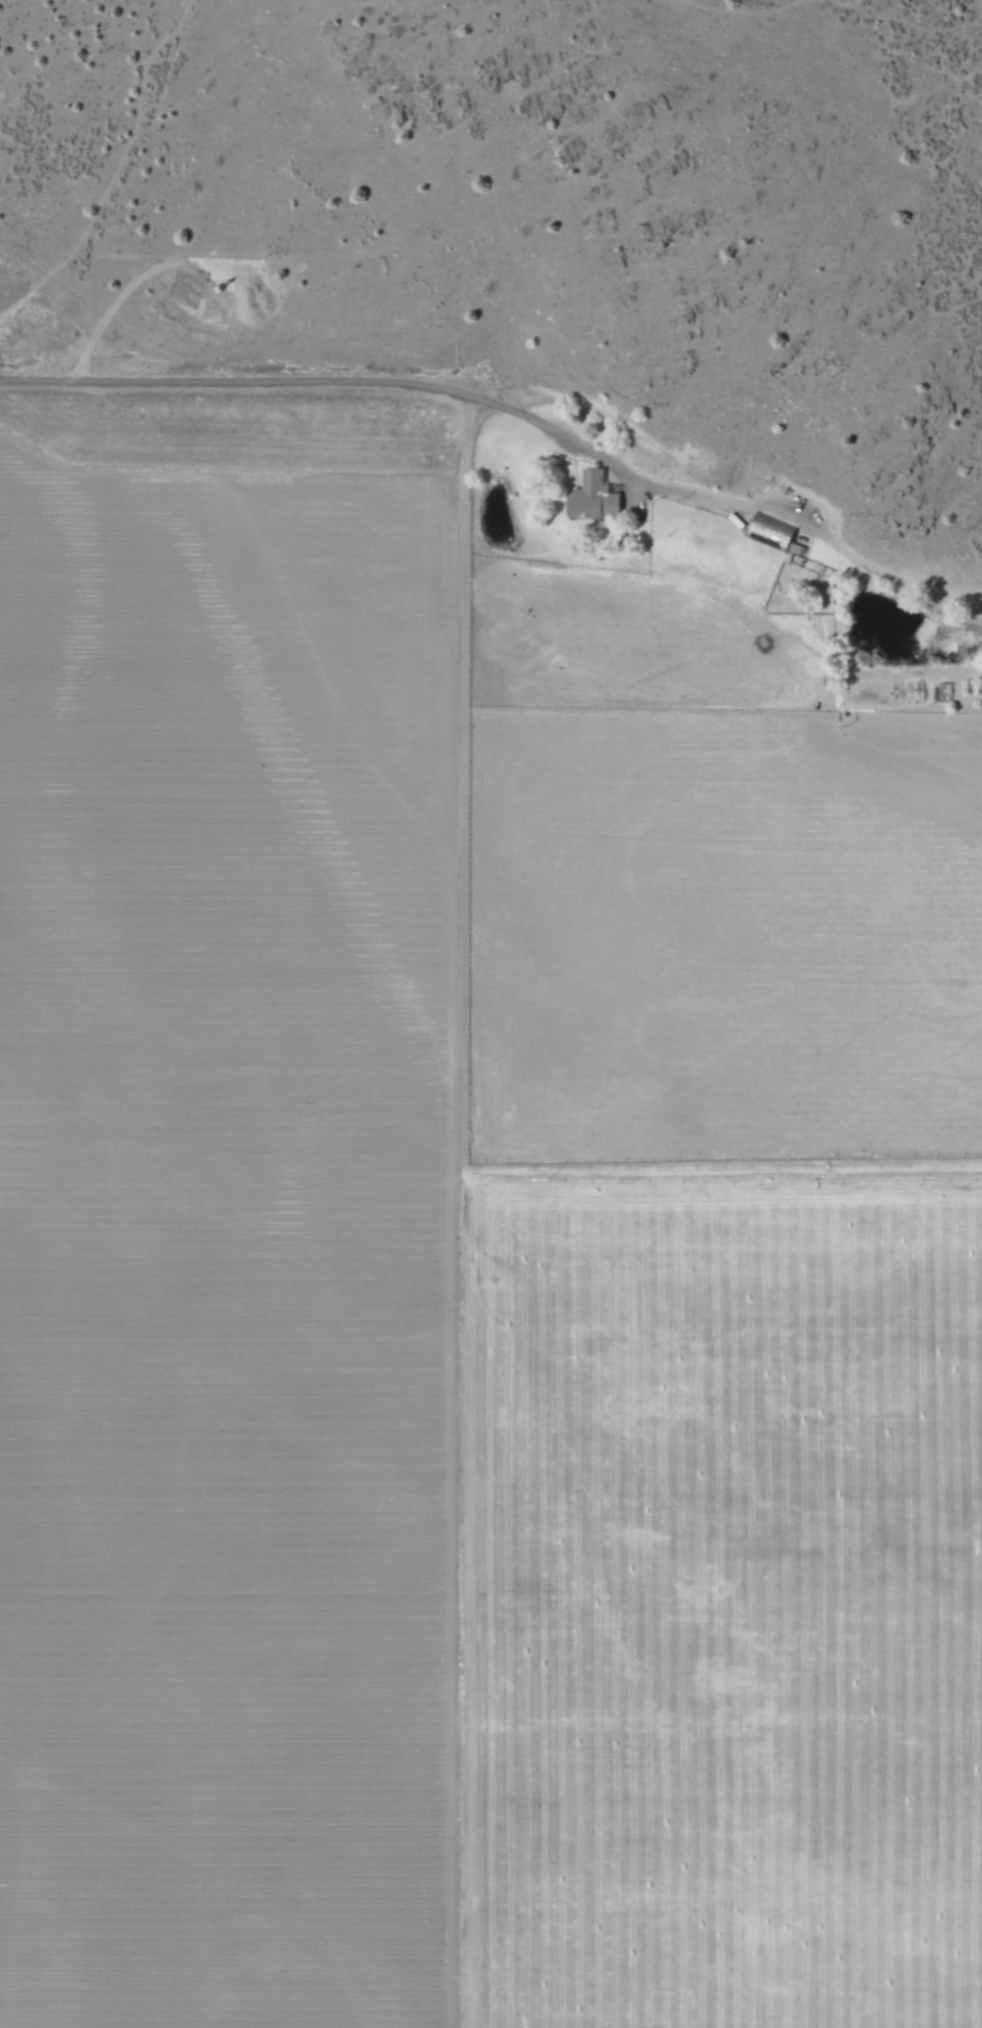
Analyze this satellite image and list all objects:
road: (290, 396)
building: (592, 496)
building: (774, 534)
crop: (465, 1270)

